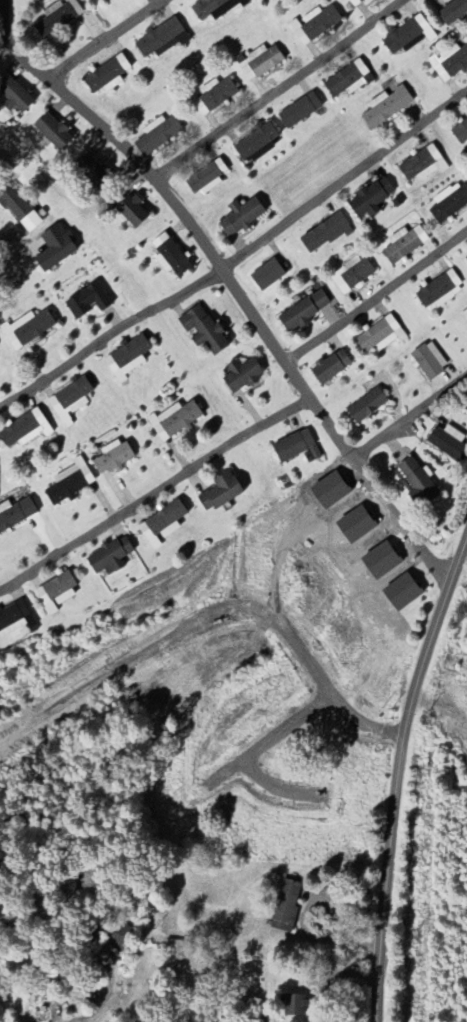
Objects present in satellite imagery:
building: (104, 0)
building: (355, 2)
building: (215, 9)
building: (453, 11)
building: (58, 18)
building: (315, 25)
building: (409, 36)
building: (162, 40)
road: (116, 43)
building: (260, 63)
building: (450, 63)
building: (108, 76)
building: (349, 80)
road: (280, 89)
building: (215, 96)
building: (15, 97)
building: (387, 107)
building: (300, 111)
building: (53, 133)
building: (460, 133)
building: (158, 135)
building: (256, 141)
building: (423, 165)
building: (92, 171)
building: (207, 179)
road: (346, 183)
building: (371, 199)
building: (449, 203)
building: (19, 208)
building: (133, 212)
building: (241, 217)
building: (326, 234)
building: (404, 245)
building: (56, 248)
building: (170, 257)
building: (466, 259)
building: (351, 275)
building: (267, 276)
road: (231, 278)
building: (440, 291)
road: (379, 297)
building: (88, 302)
building: (304, 312)
building: (27, 330)
building: (203, 330)
building: (381, 336)
road: (113, 338)
building: (127, 359)
building: (430, 361)
building: (331, 368)
building: (242, 376)
building: (71, 401)
building: (367, 406)
road: (414, 417)
building: (175, 421)
building: (26, 430)
building: (297, 448)
building: (113, 458)
building: (70, 483)
building: (418, 484)
road: (157, 493)
building: (221, 493)
building: (15, 515)
building: (162, 525)
building: (110, 558)
building: (381, 561)
building: (57, 593)
building: (402, 593)
building: (16, 620)
road: (395, 767)
building: (286, 906)
building: (118, 937)
road: (107, 965)
building: (293, 1005)
road: (70, 1021)

